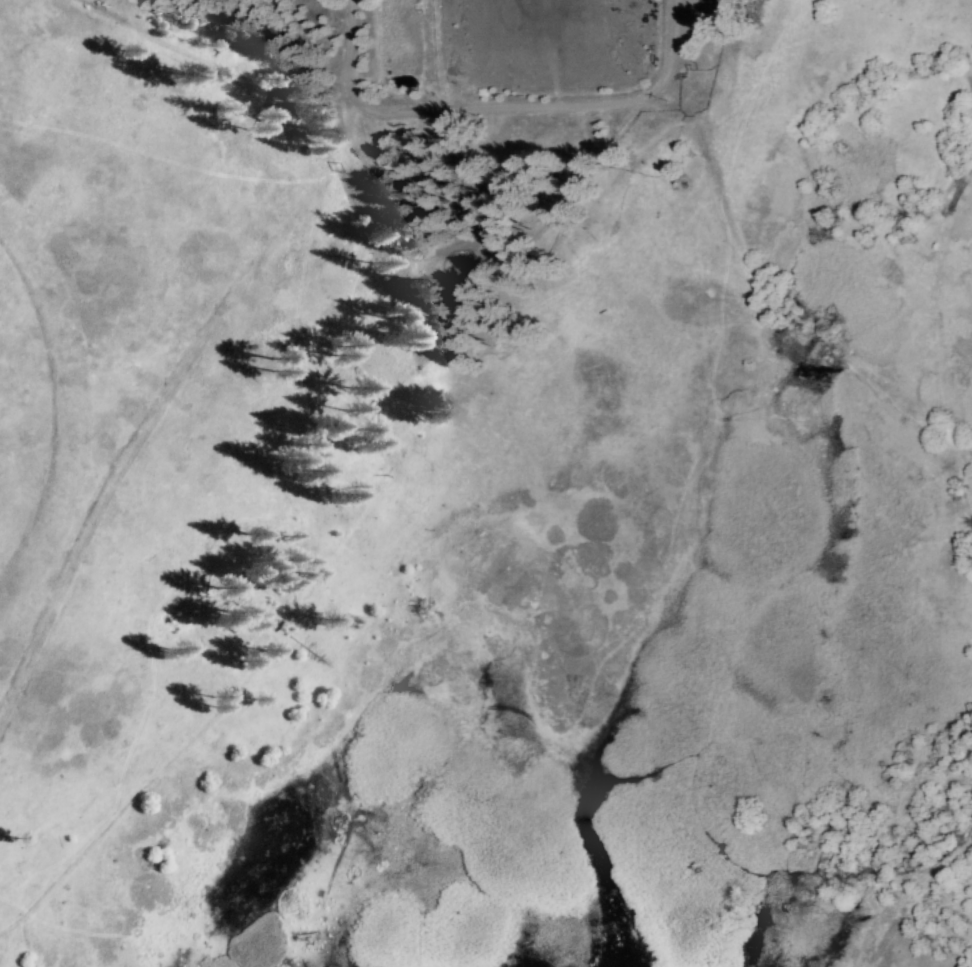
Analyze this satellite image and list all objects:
road: (467, 103)

